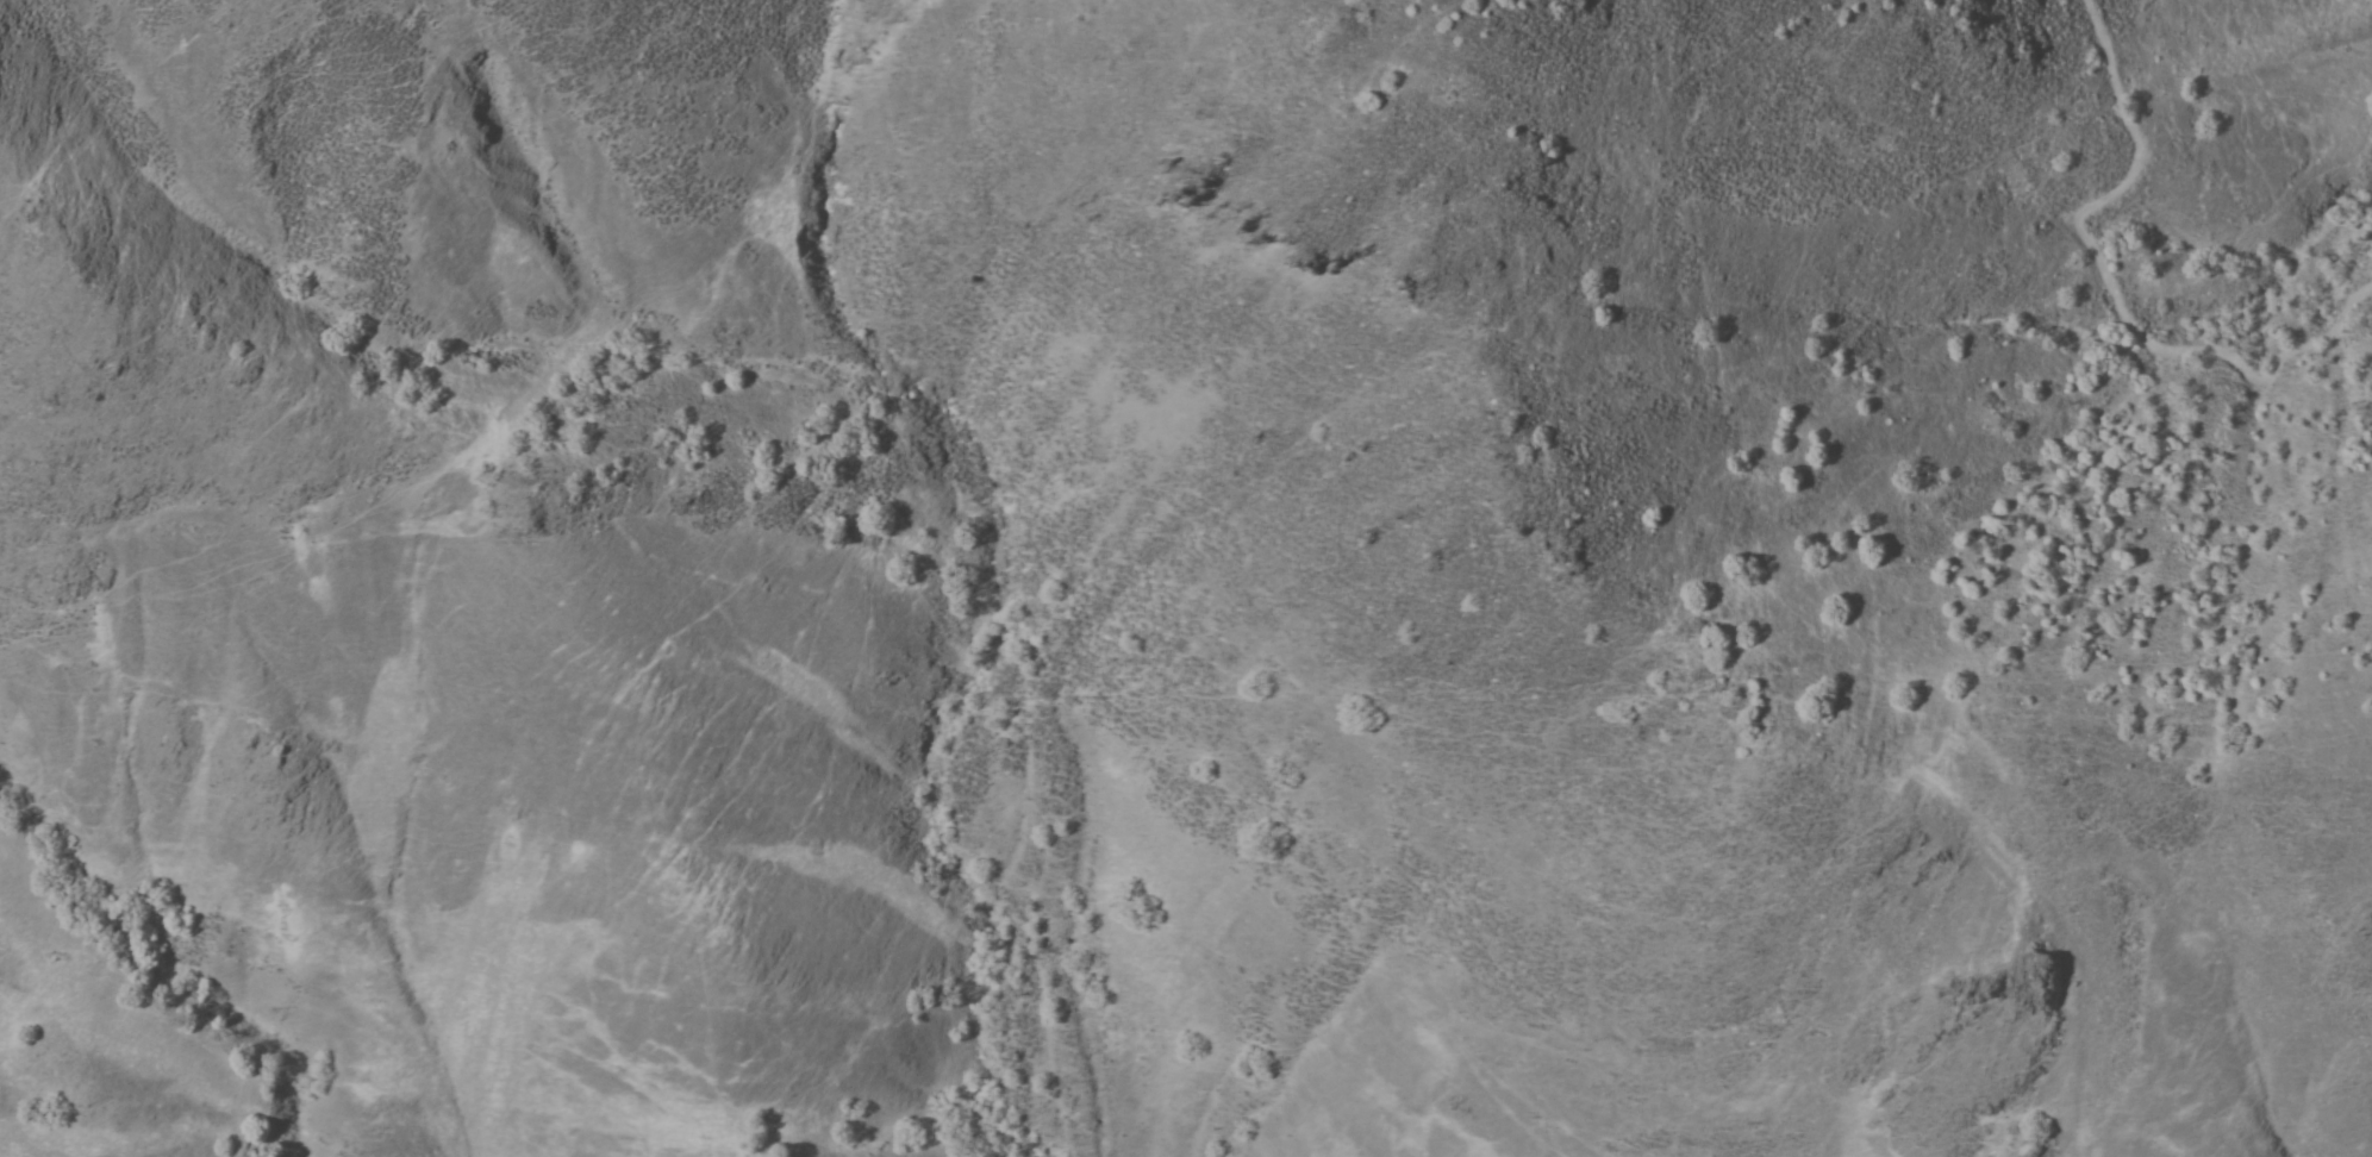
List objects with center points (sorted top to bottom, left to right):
road: (2090, 204)
road: (2299, 346)

